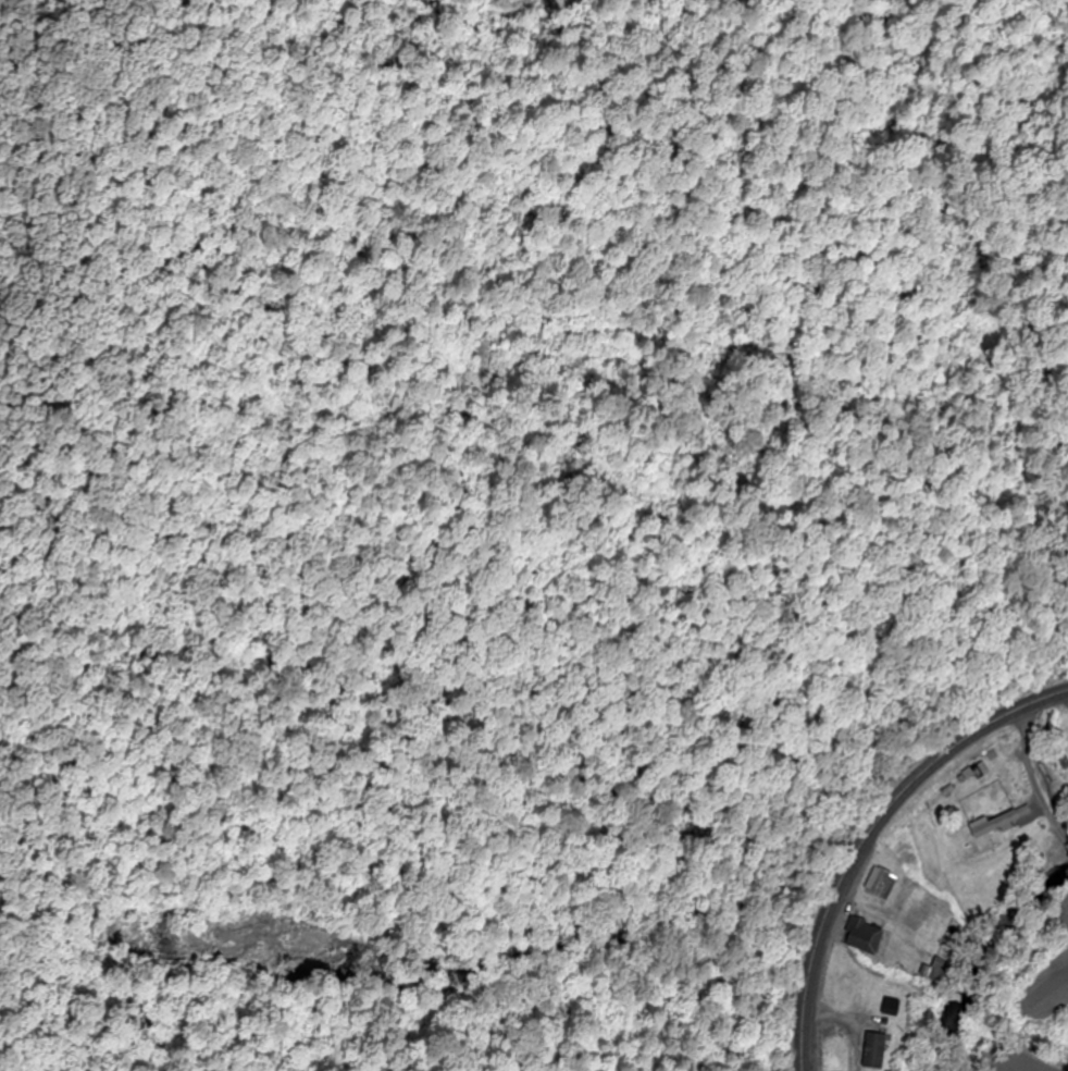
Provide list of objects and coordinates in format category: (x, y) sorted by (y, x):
road: (1028, 765)
building: (1002, 776)
road: (1032, 810)
building: (997, 822)
road: (867, 830)
road: (1061, 833)
building: (877, 884)
building: (860, 939)
river: (988, 956)
building: (934, 972)
building: (871, 1051)

